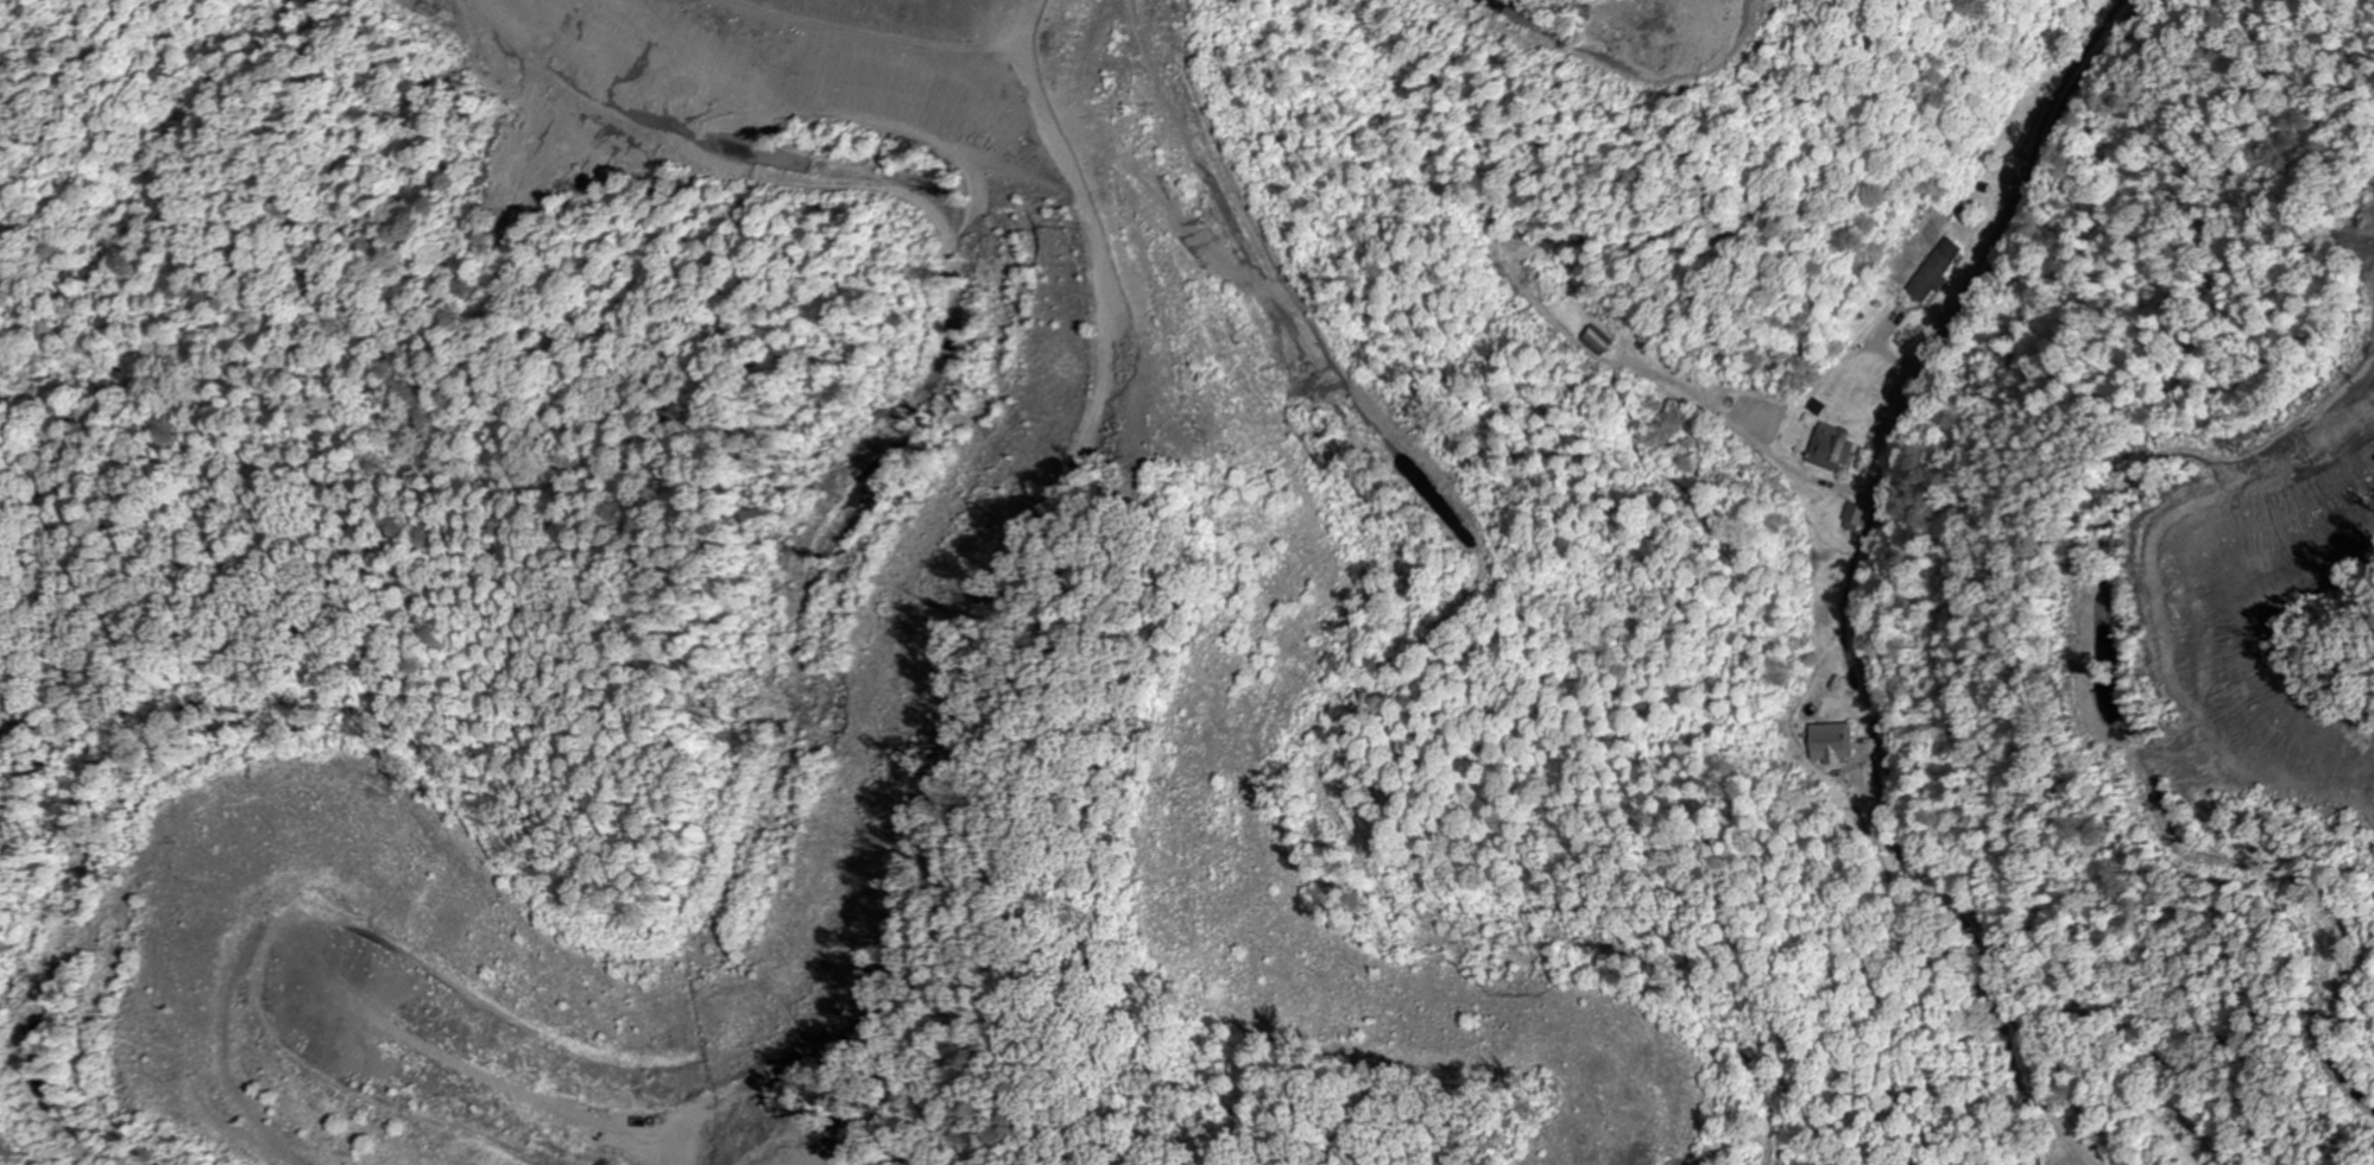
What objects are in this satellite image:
building: (1933, 273)
building: (1595, 340)
building: (1826, 449)
road: (1863, 571)
building: (1829, 743)

